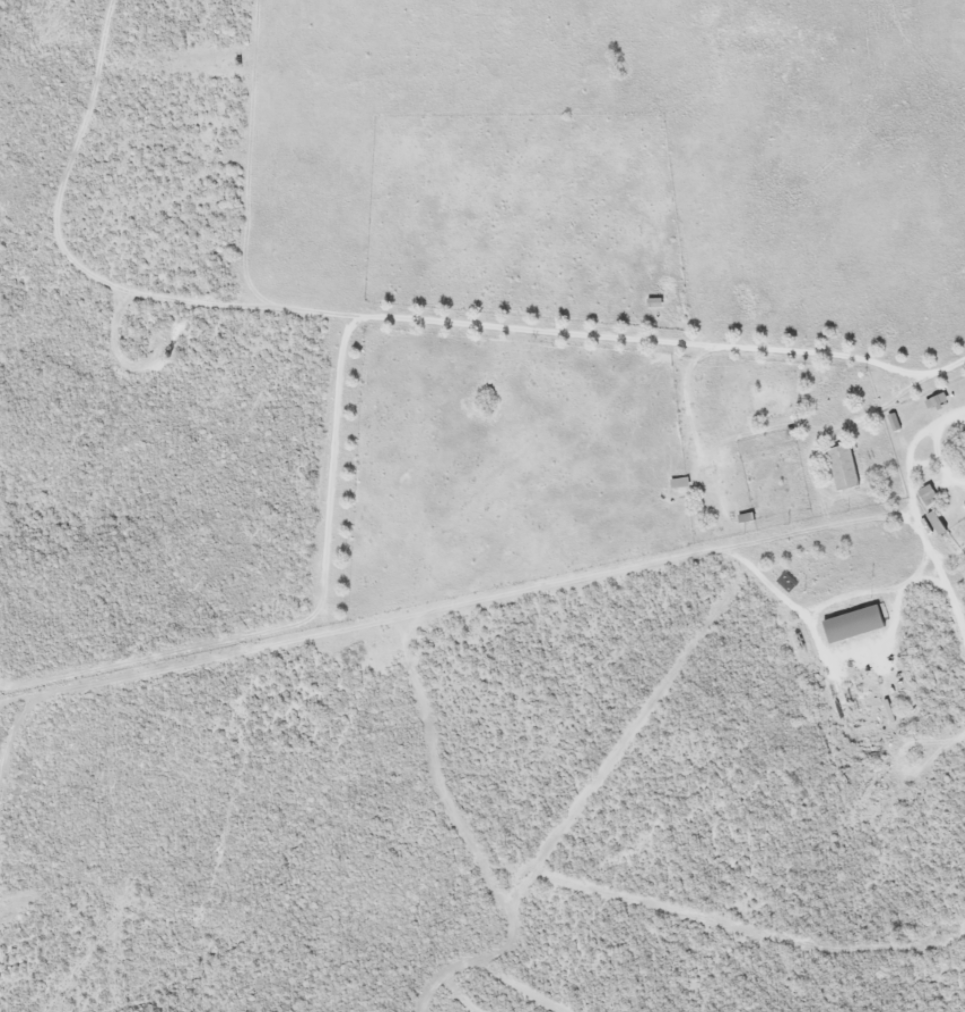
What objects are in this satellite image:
building: (653, 302)
building: (842, 467)
road: (918, 496)
building: (924, 496)
building: (932, 522)
building: (851, 624)

